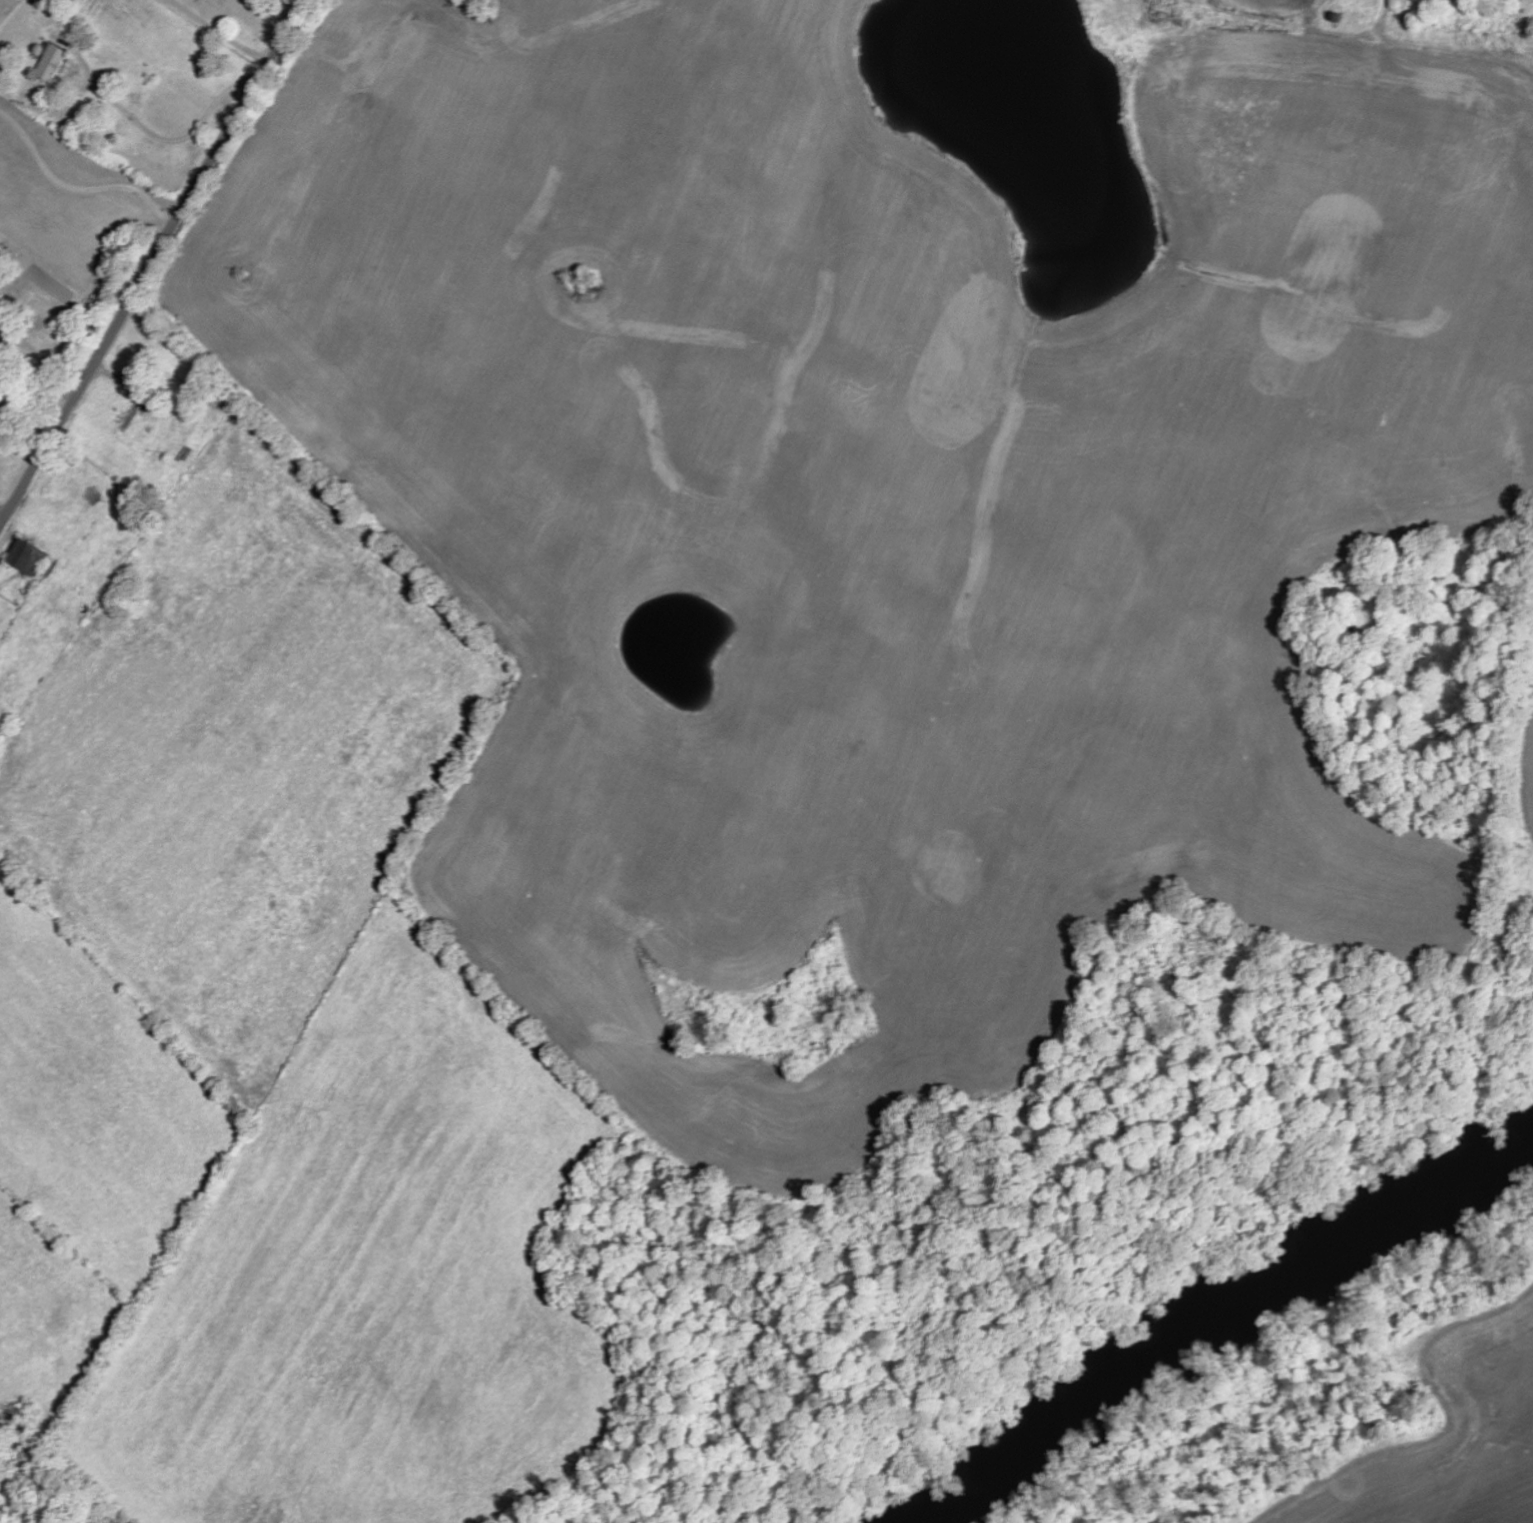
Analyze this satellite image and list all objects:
road: (221, 30)
building: (50, 62)
road: (77, 189)
road: (154, 261)
building: (22, 557)
river: (1213, 1326)

